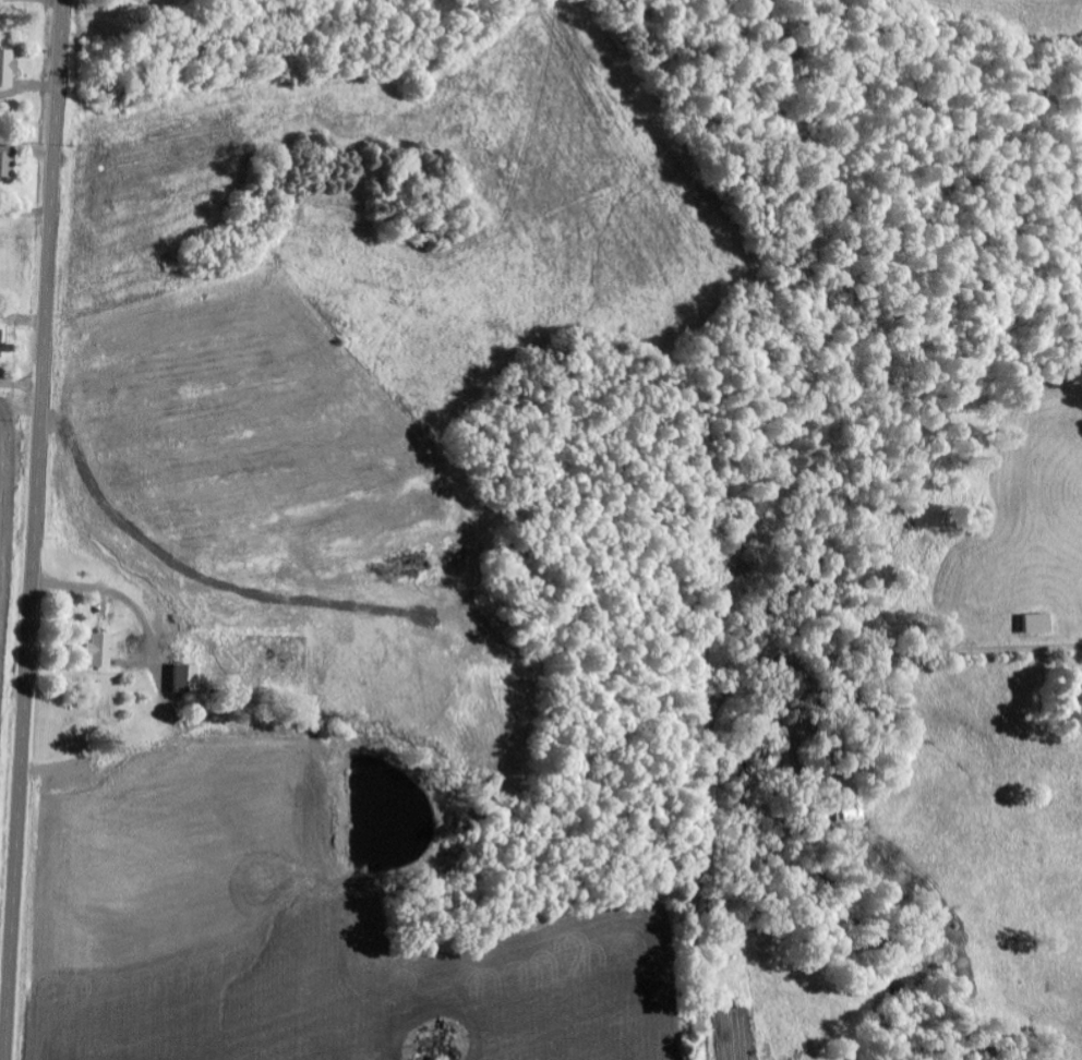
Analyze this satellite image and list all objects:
building: (132, 0)
building: (7, 68)
building: (5, 161)
road: (25, 210)
building: (1, 342)
road: (22, 384)
road: (35, 530)
building: (1039, 625)
building: (100, 651)
building: (187, 679)
road: (726, 695)
building: (441, 1047)

